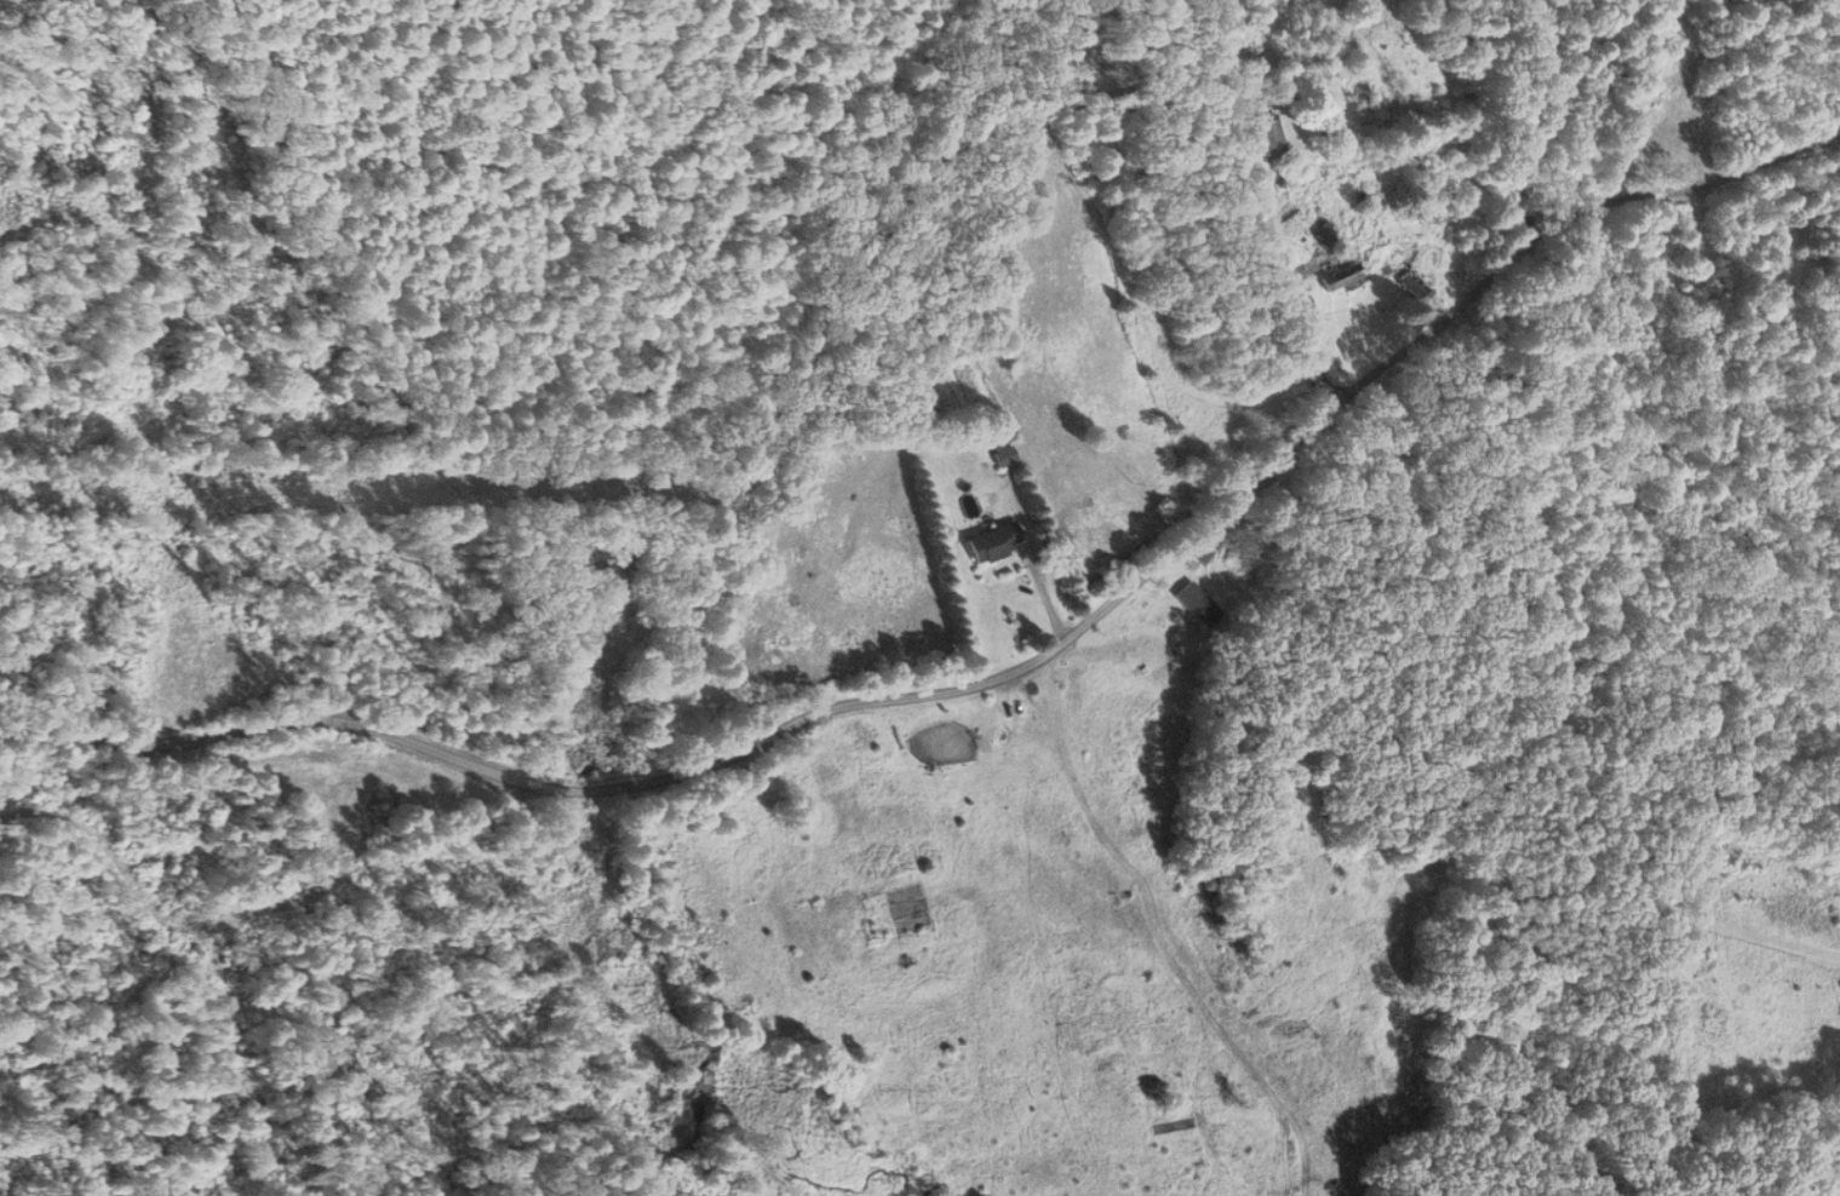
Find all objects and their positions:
building: (1268, 137)
building: (1325, 232)
building: (1341, 277)
building: (1412, 287)
road: (1404, 340)
building: (1003, 456)
building: (993, 544)
road: (521, 786)
road: (1159, 937)

